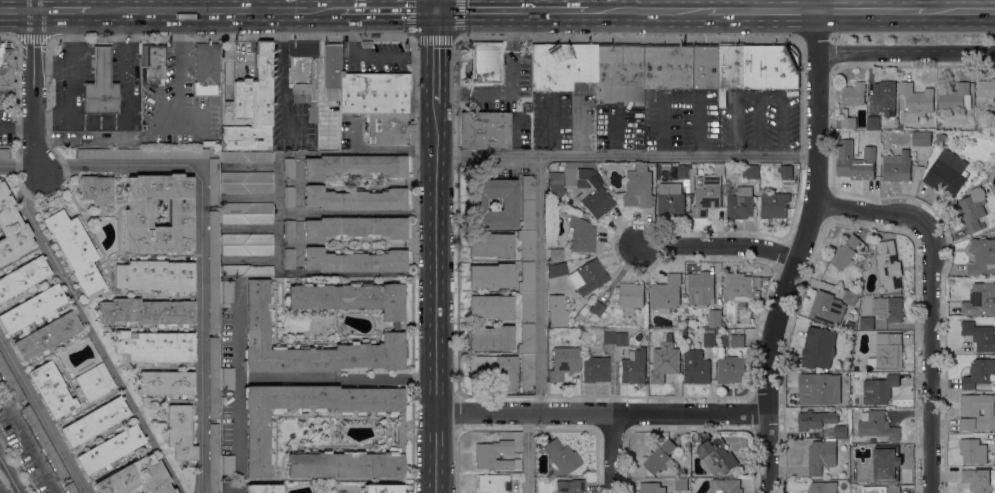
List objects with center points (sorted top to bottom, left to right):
road: (59, 5)
road: (163, 5)
road: (245, 5)
road: (315, 5)
road: (353, 5)
road: (435, 5)
road: (816, 5)
road: (960, 9)
road: (16, 10)
road: (62, 10)
road: (216, 10)
road: (387, 10)
road: (511, 10)
road: (647, 10)
road: (761, 10)
road: (871, 10)
traffic signals: (435, 11)
road: (340, 26)
road: (6, 36)
road: (31, 37)
road: (433, 38)
building: (366, 44)
road: (454, 46)
road: (905, 51)
road: (435, 53)
road: (507, 53)
road: (366, 58)
parking lot: (373, 59)
road: (422, 59)
building: (155, 62)
building: (486, 63)
building: (583, 63)
building: (771, 66)
building: (670, 67)
building: (707, 67)
road: (111, 68)
building: (540, 68)
building: (560, 68)
building: (206, 69)
road: (281, 70)
building: (730, 70)
building: (331, 71)
building: (6, 73)
building: (620, 73)
building: (304, 74)
building: (100, 85)
gas station: (100, 85)
road: (414, 85)
building: (985, 90)
road: (33, 92)
building: (374, 93)
building: (885, 93)
building: (854, 94)
road: (471, 96)
building: (956, 98)
road: (435, 100)
building: (916, 102)
building: (252, 107)
building: (847, 119)
parking lot: (681, 120)
parking lot: (771, 120)
building: (873, 122)
road: (583, 124)
road: (549, 128)
building: (387, 129)
road: (166, 131)
building: (483, 131)
road: (615, 133)
building: (921, 138)
building: (935, 150)
building: (4, 154)
building: (143, 154)
road: (626, 157)
building: (247, 158)
building: (720, 165)
building: (354, 166)
building: (666, 166)
building: (898, 166)
building: (858, 167)
road: (20, 168)
building: (289, 168)
building: (684, 171)
building: (751, 171)
building: (947, 173)
building: (788, 176)
building: (247, 178)
building: (214, 182)
building: (687, 182)
building: (555, 185)
building: (638, 186)
building: (247, 189)
building: (688, 189)
building: (96, 190)
building: (588, 190)
building: (707, 194)
building: (289, 197)
building: (354, 199)
building: (670, 200)
building: (527, 203)
building: (740, 203)
building: (477, 204)
building: (775, 205)
building: (247, 208)
building: (972, 208)
building: (137, 218)
building: (247, 219)
building: (354, 228)
building: (11, 230)
building: (289, 230)
building: (581, 235)
building: (247, 239)
building: (490, 245)
building: (526, 245)
road: (720, 245)
road: (201, 248)
building: (75, 250)
building: (247, 250)
road: (798, 252)
building: (845, 252)
building: (555, 255)
building: (984, 255)
building: (289, 259)
building: (354, 261)
building: (888, 266)
building: (247, 271)
building: (214, 272)
building: (830, 274)
building: (155, 276)
building: (490, 276)
building: (22, 277)
building: (588, 277)
building: (526, 278)
road: (540, 286)
building: (700, 288)
building: (227, 292)
building: (666, 293)
building: (743, 293)
building: (850, 297)
road: (434, 298)
building: (630, 298)
building: (981, 299)
road: (926, 303)
building: (491, 307)
building: (526, 307)
building: (32, 308)
building: (827, 308)
building: (888, 308)
building: (597, 309)
building: (145, 312)
building: (714, 317)
building: (555, 319)
building: (867, 323)
building: (256, 326)
road: (90, 333)
building: (47, 336)
building: (608, 336)
building: (980, 336)
building: (709, 337)
building: (491, 338)
building: (882, 338)
building: (620, 339)
building: (526, 340)
building: (739, 341)
building: (155, 346)
building: (818, 347)
building: (722, 351)
building: (888, 353)
building: (665, 359)
building: (562, 363)
building: (634, 367)
building: (696, 367)
building: (730, 369)
building: (497, 370)
building: (595, 370)
building: (527, 372)
building: (979, 373)
building: (214, 378)
road: (335, 378)
building: (227, 379)
building: (11, 382)
building: (94, 382)
building: (166, 383)
road: (237, 387)
building: (815, 388)
building: (879, 389)
building: (51, 390)
park: (4, 393)
building: (977, 412)
road: (599, 414)
road: (455, 415)
road: (42, 416)
building: (815, 419)
building: (94, 421)
building: (877, 426)
building: (256, 429)
building: (840, 431)
building: (179, 432)
building: (44, 443)
building: (110, 449)
parking lot: (26, 451)
road: (32, 451)
building: (973, 451)
road: (527, 453)
road: (612, 454)
building: (483, 456)
building: (716, 456)
building: (821, 456)
building: (561, 457)
building: (661, 457)
building: (214, 458)
road: (455, 463)
building: (886, 466)
building: (227, 467)
road: (11, 472)
building: (515, 477)
building: (136, 478)
building: (979, 479)
building: (493, 483)
building: (570, 486)
building: (664, 486)
building: (725, 486)
building: (226, 487)
building: (822, 487)
building: (69, 488)
building: (263, 489)
building: (383, 489)
building: (888, 490)

